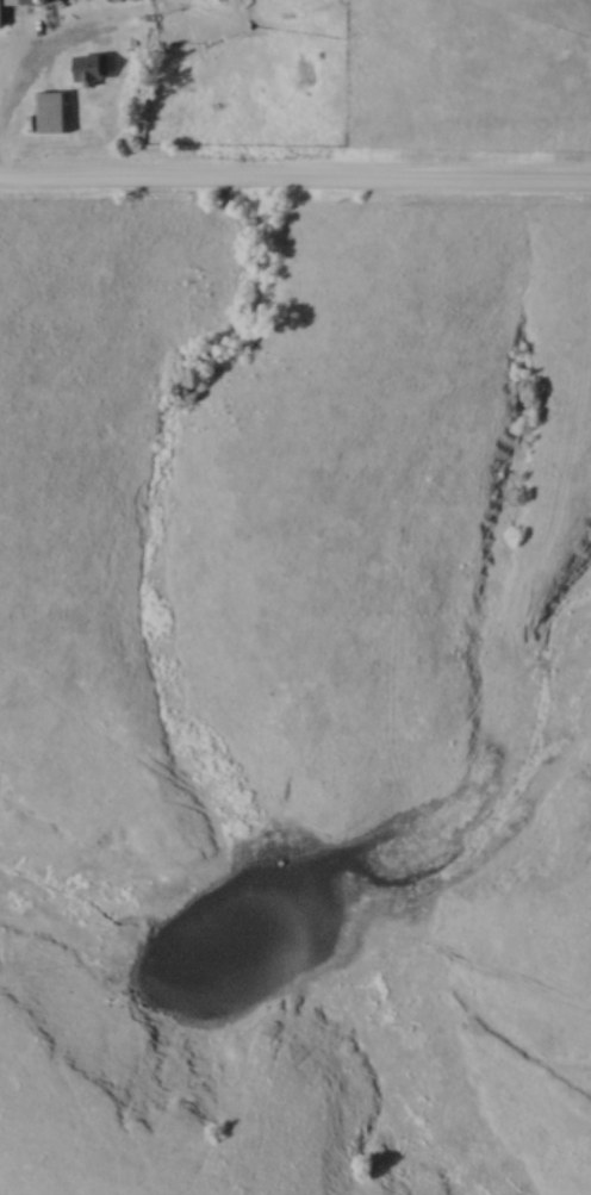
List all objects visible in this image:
building: (17, 2)
building: (87, 69)
road: (20, 87)
building: (50, 113)
road: (294, 182)

